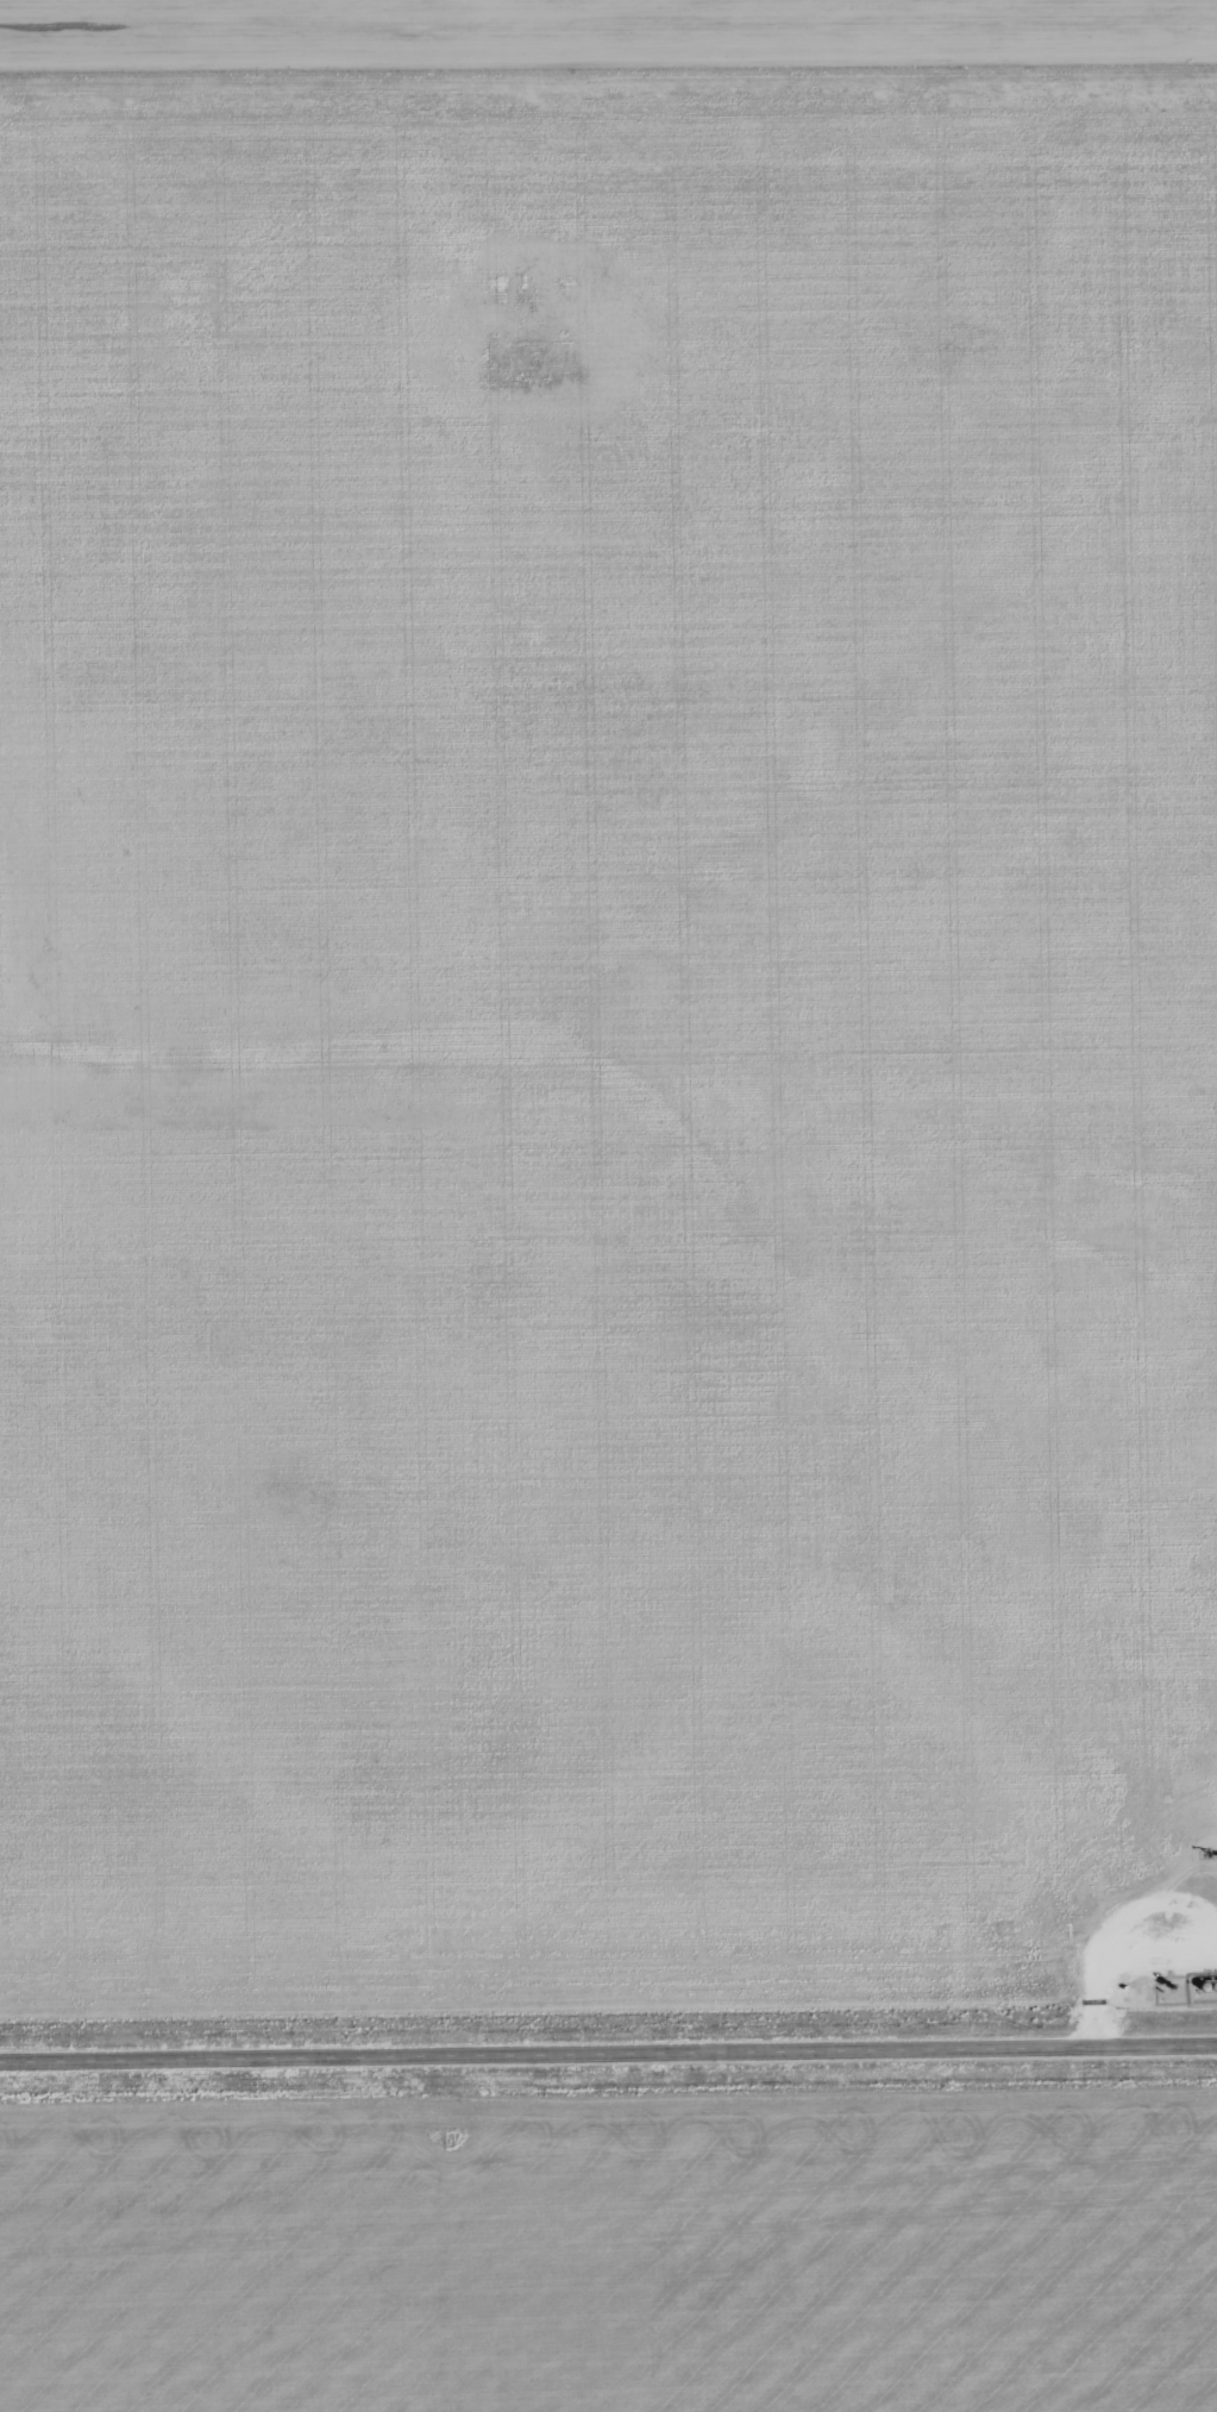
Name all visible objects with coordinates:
petroleum well: (1215, 1849)
road: (608, 2059)

